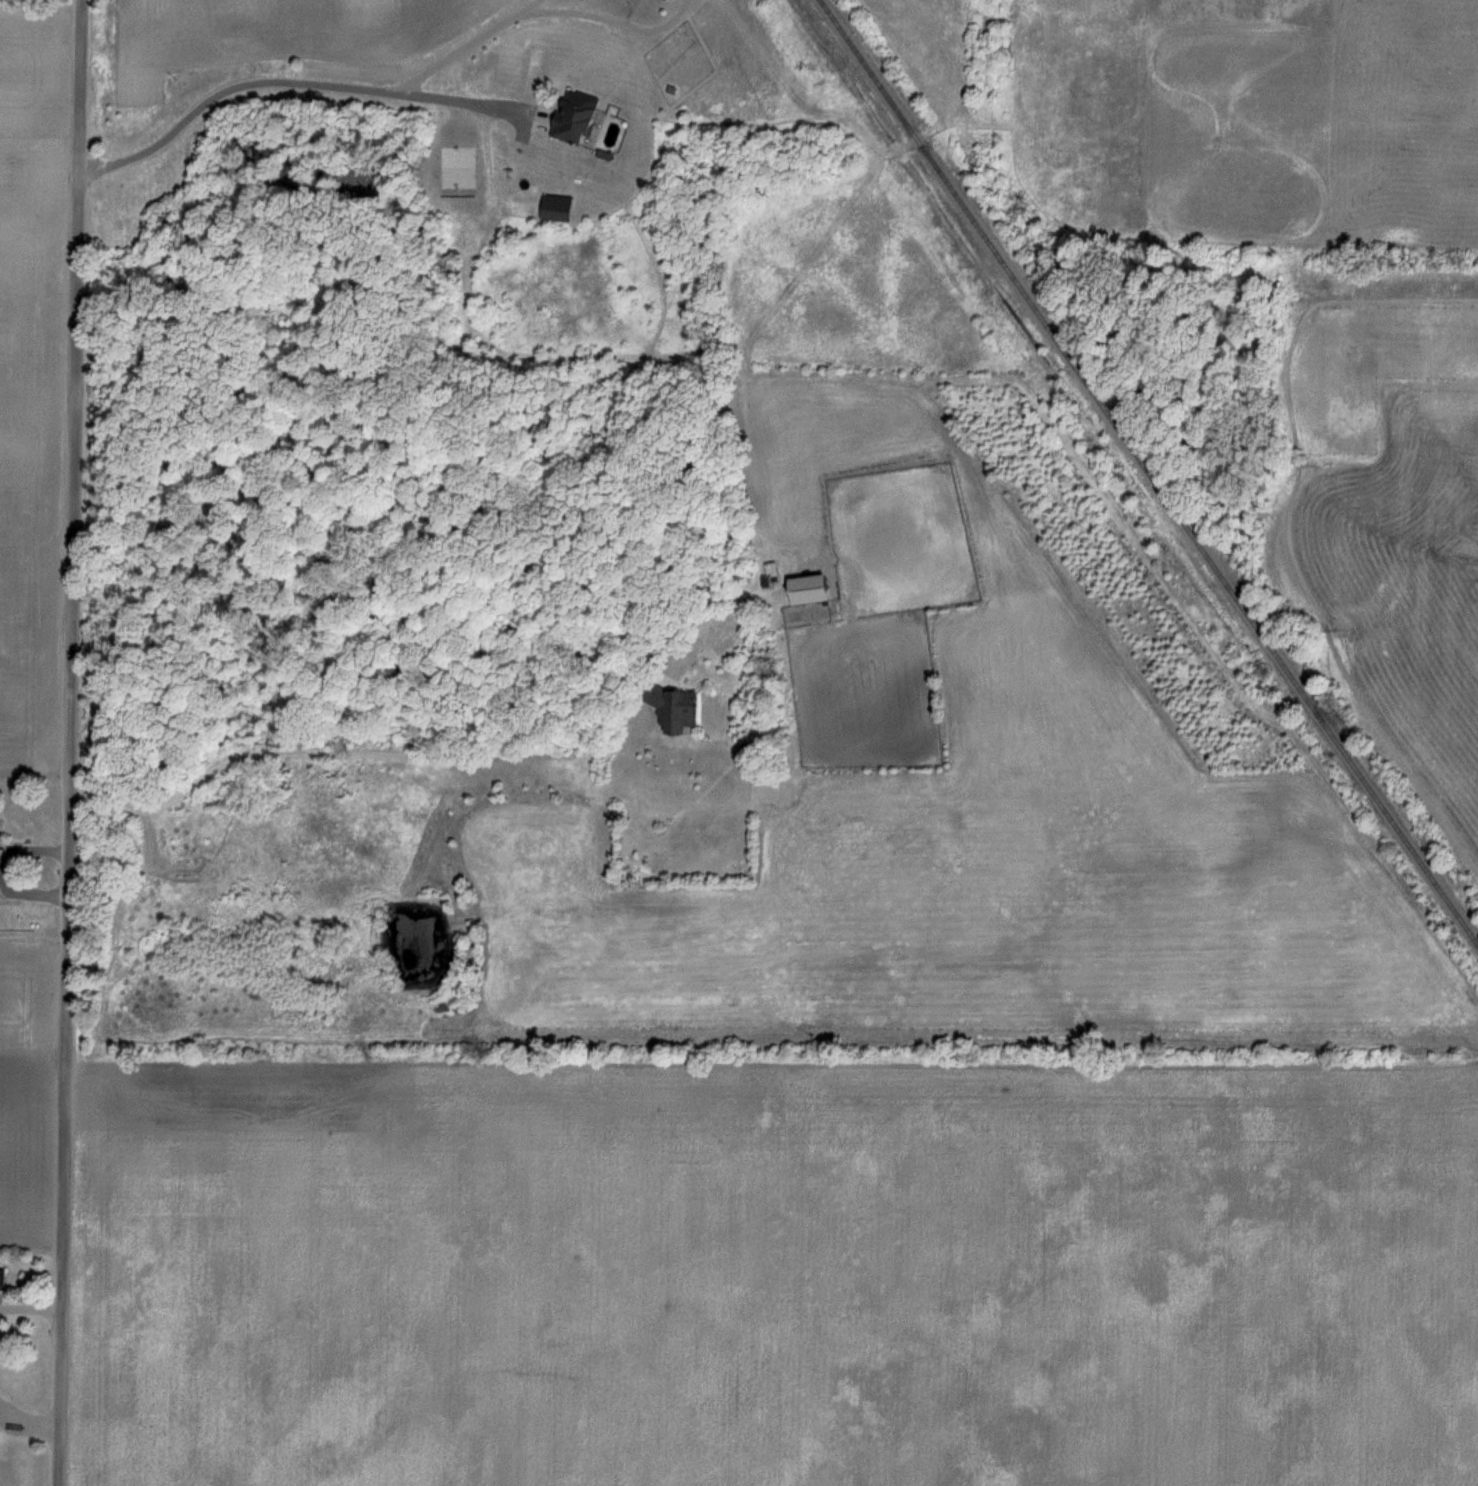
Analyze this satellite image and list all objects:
road: (314, 84)
road: (463, 102)
building: (581, 117)
building: (560, 209)
railway: (1149, 471)
building: (678, 710)
road: (79, 743)
road: (422, 755)
road: (35, 849)
road: (34, 894)
building: (5, 1280)
building: (5, 1475)

